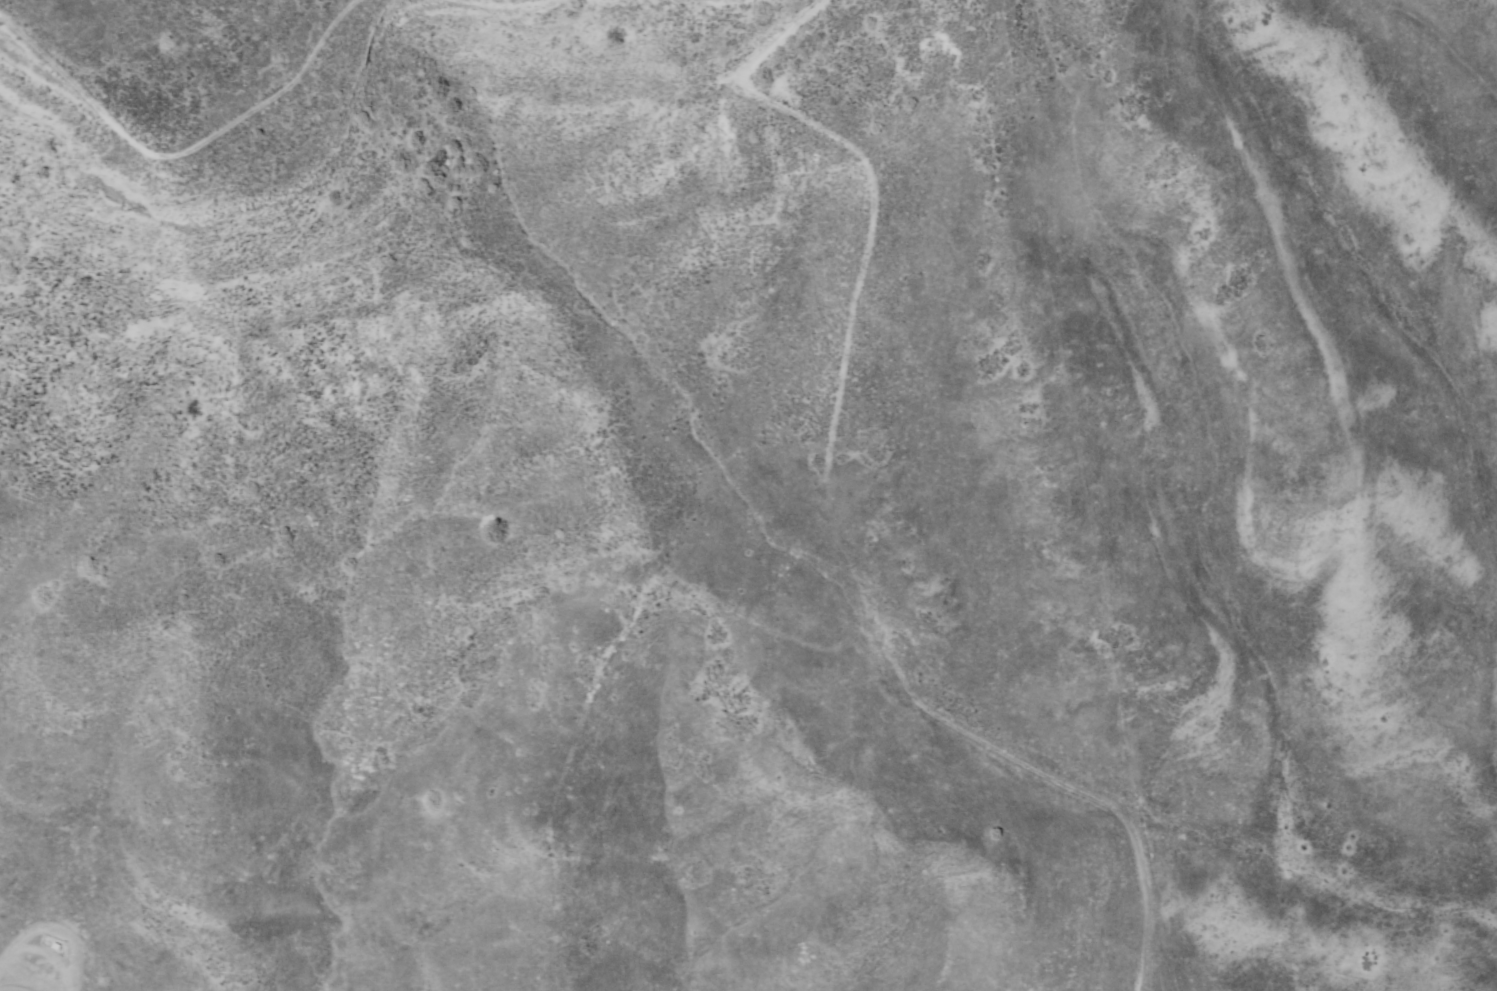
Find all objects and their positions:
road: (184, 156)
road: (870, 259)
solar farm: (1229, 501)
road: (798, 640)

